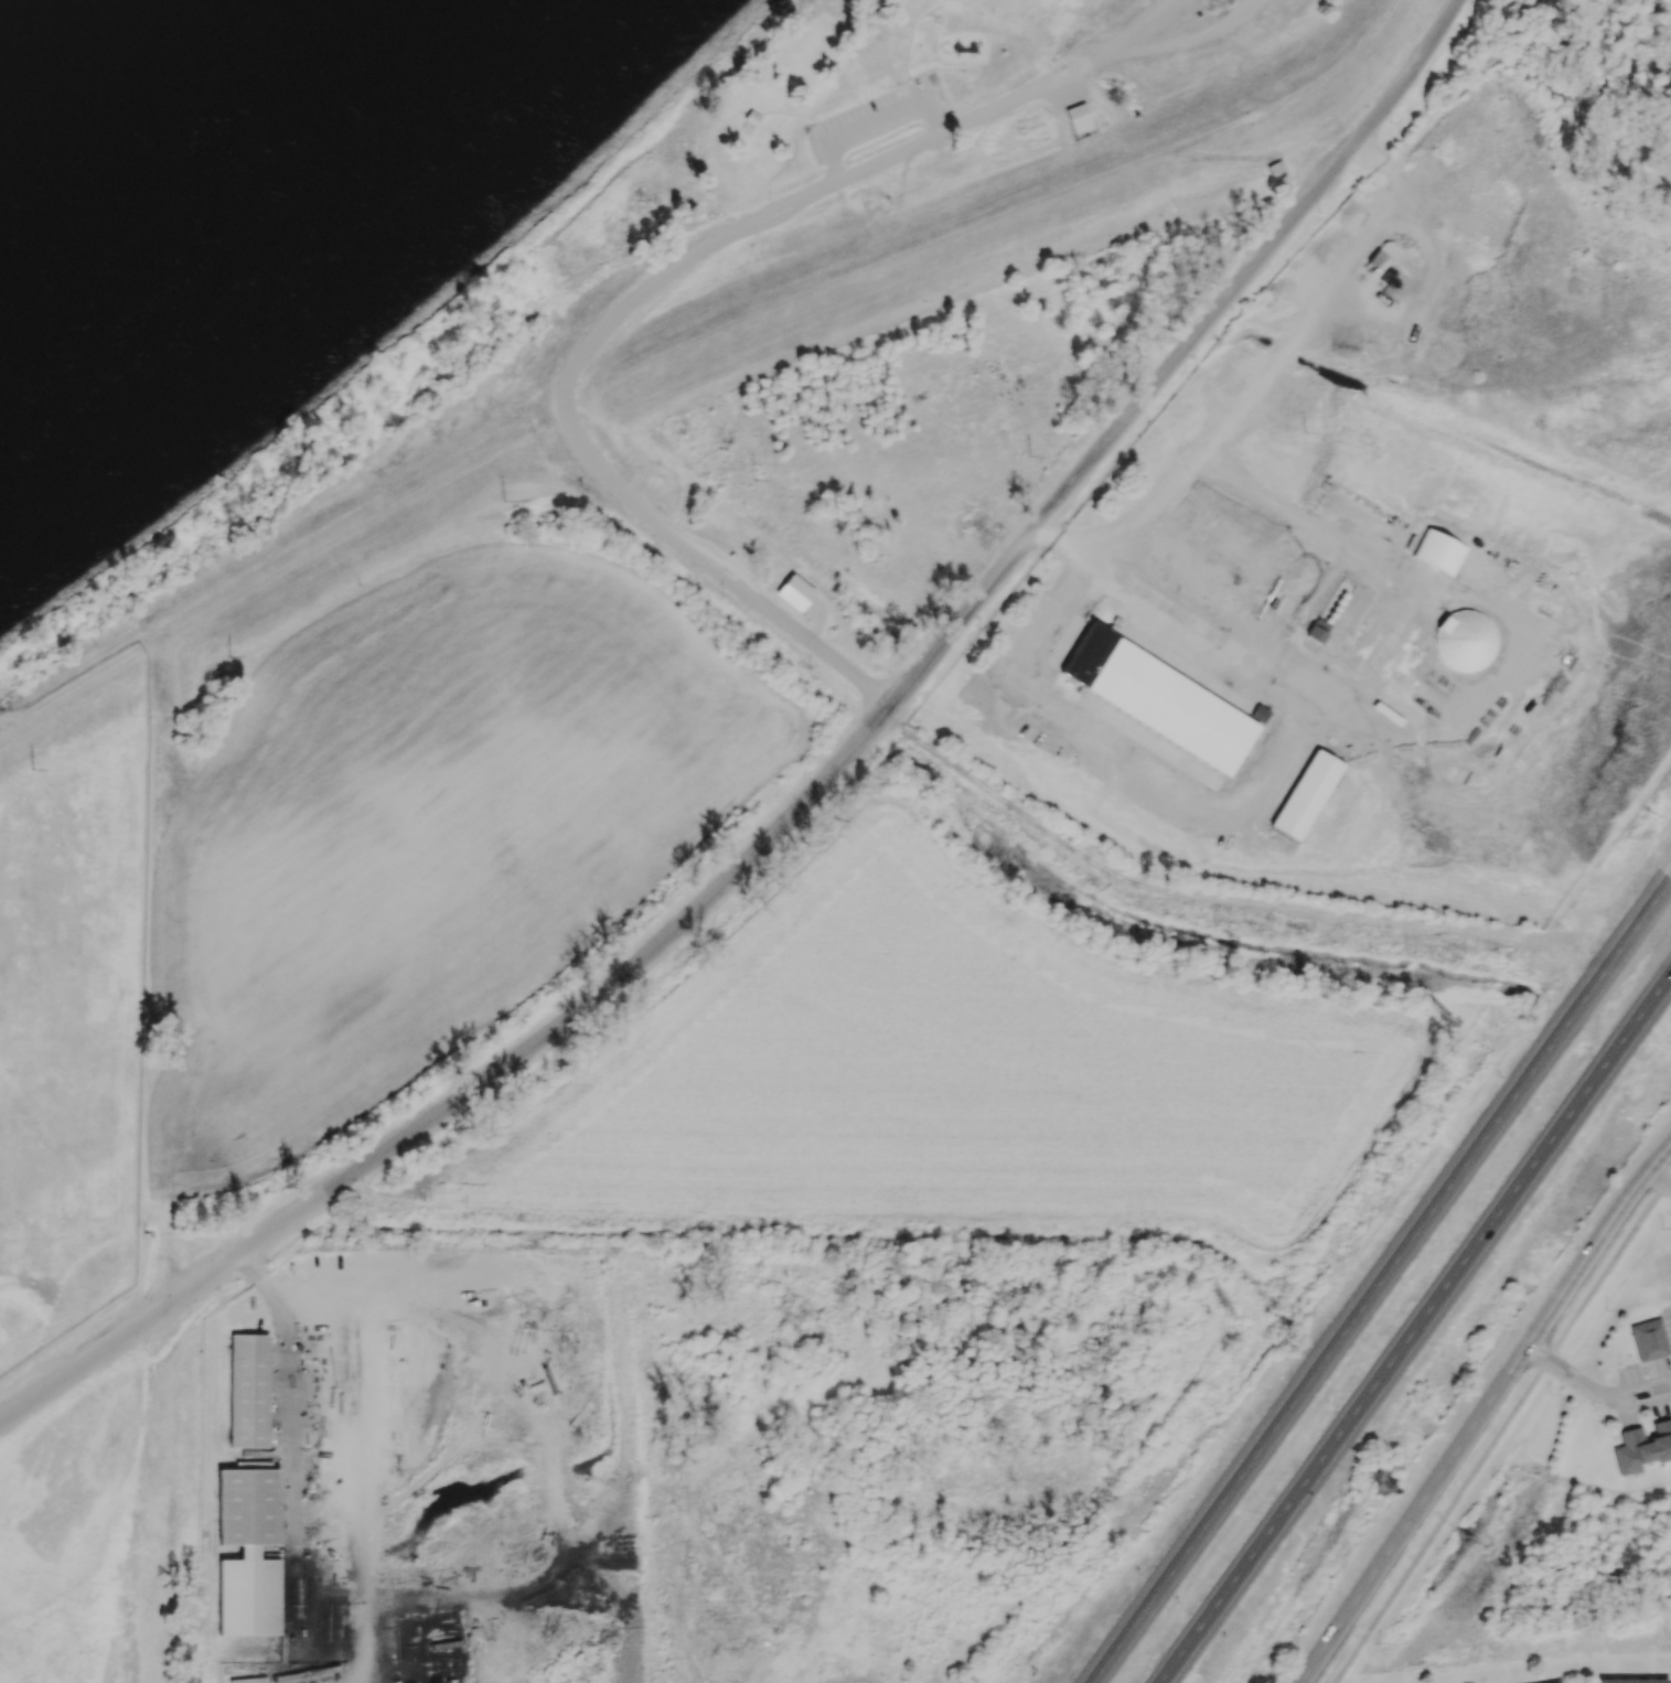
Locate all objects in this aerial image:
building: (840, 6)
road: (887, 6)
road: (919, 19)
parking lot: (1200, 20)
road: (1134, 33)
road: (1183, 40)
road: (903, 54)
parking lot: (1064, 90)
road: (782, 114)
parking lot: (868, 118)
building: (1097, 119)
building: (748, 120)
building: (1078, 121)
river: (205, 153)
building: (1273, 170)
park: (835, 301)
road: (613, 320)
road: (1260, 387)
building: (793, 592)
building: (1159, 699)
road: (808, 793)
crop: (430, 835)
crop: (954, 1072)
road: (1658, 1180)
road: (1413, 1234)
road: (1439, 1297)
building: (387, 1372)
road: (1593, 1390)
building: (248, 1391)
road: (1482, 1411)
road: (1501, 1429)
road: (1125, 1634)
road: (1185, 1653)

